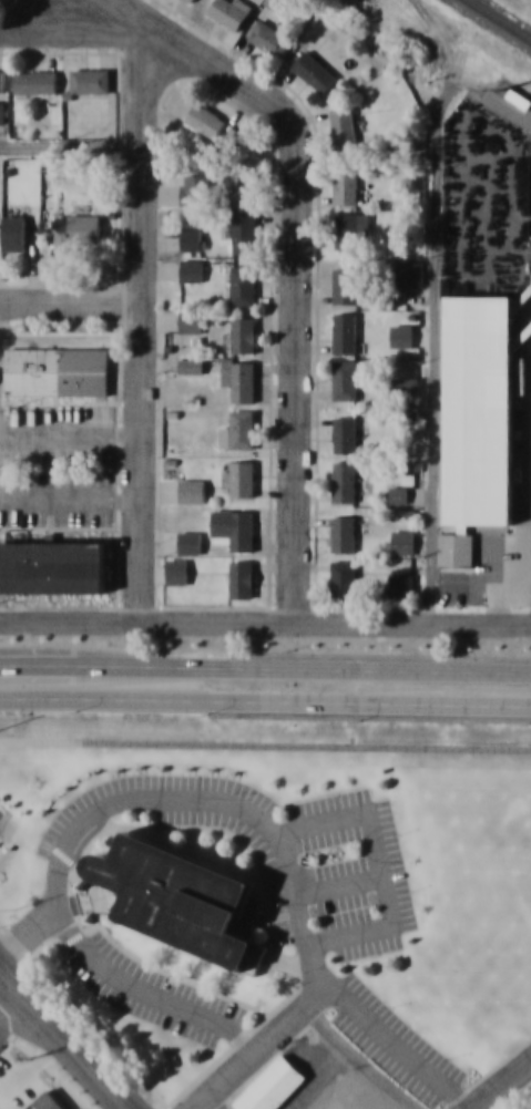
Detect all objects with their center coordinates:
building: (191, 0)
building: (272, 3)
building: (229, 11)
railway: (499, 20)
road: (71, 27)
building: (269, 37)
road: (469, 53)
building: (314, 70)
building: (1, 79)
building: (90, 79)
building: (35, 80)
building: (2, 111)
building: (205, 119)
building: (343, 126)
road: (71, 144)
building: (243, 184)
building: (193, 187)
building: (346, 187)
building: (350, 228)
building: (79, 229)
building: (241, 230)
building: (14, 232)
building: (192, 237)
road: (294, 266)
building: (191, 269)
building: (410, 273)
building: (345, 284)
building: (243, 285)
road: (70, 301)
road: (139, 316)
building: (191, 321)
building: (345, 331)
building: (243, 333)
building: (404, 335)
building: (192, 364)
building: (57, 370)
building: (238, 377)
building: (345, 379)
building: (404, 383)
building: (477, 419)
building: (238, 429)
building: (345, 430)
building: (241, 478)
building: (344, 481)
building: (193, 490)
building: (398, 493)
building: (234, 527)
building: (343, 533)
building: (190, 541)
building: (402, 541)
building: (53, 566)
building: (177, 571)
building: (242, 578)
building: (344, 579)
building: (401, 585)
road: (265, 620)
road: (265, 670)
road: (265, 699)
road: (265, 746)
building: (180, 897)
road: (286, 1029)
road: (41, 1038)
road: (63, 1038)
building: (272, 1085)
road: (503, 1087)
building: (45, 1100)
road: (203, 1108)

